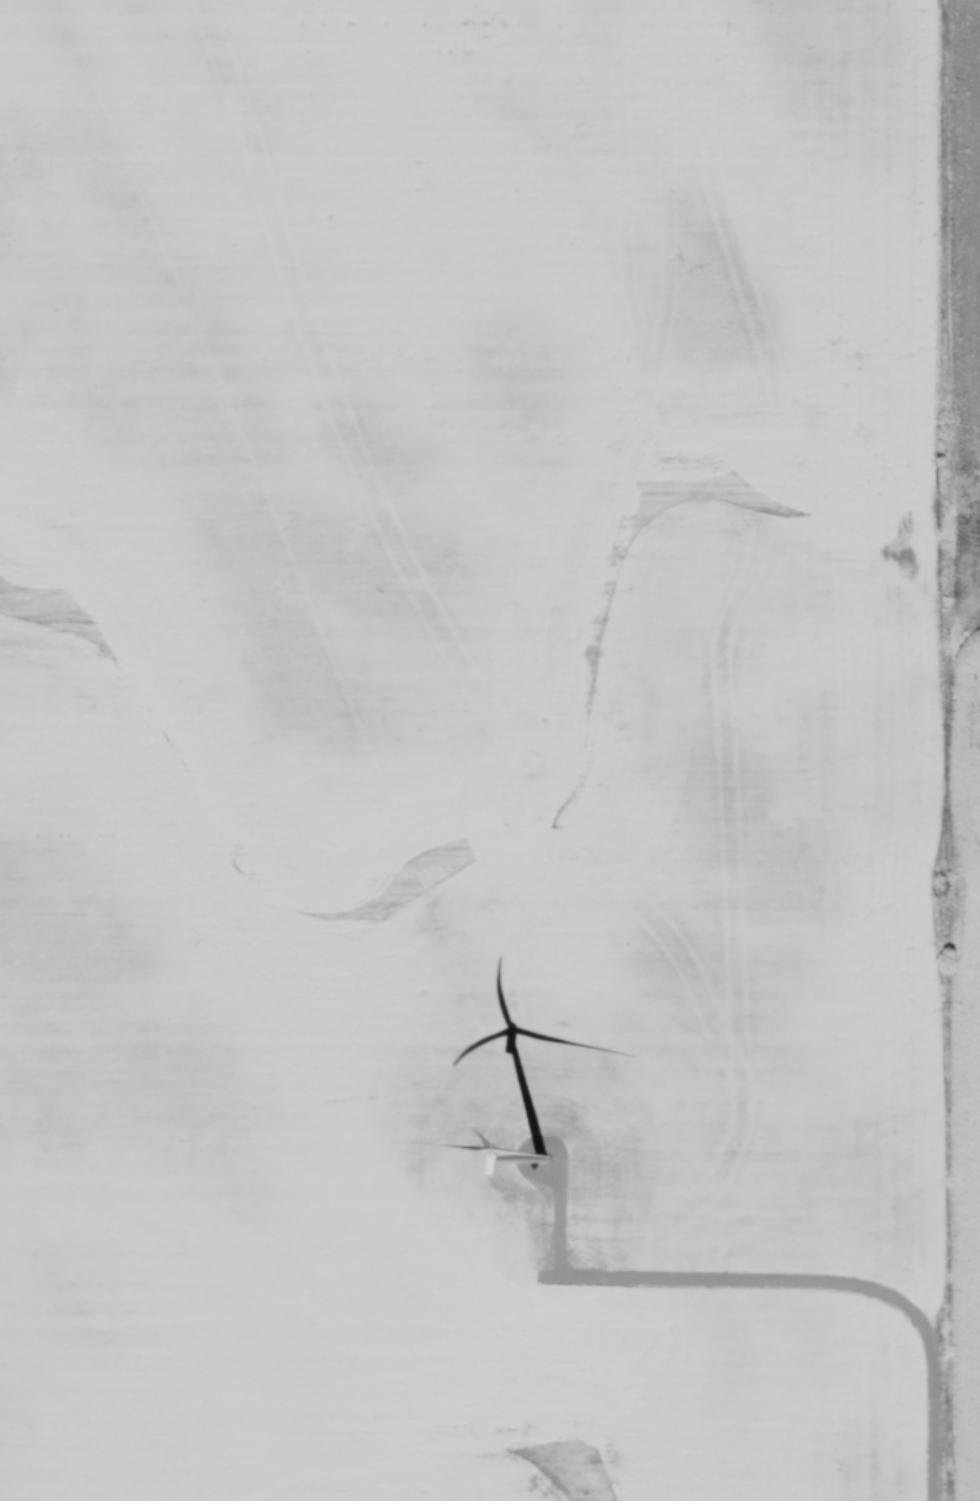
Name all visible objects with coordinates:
wind turbine: (543, 1164)
road: (792, 1280)

